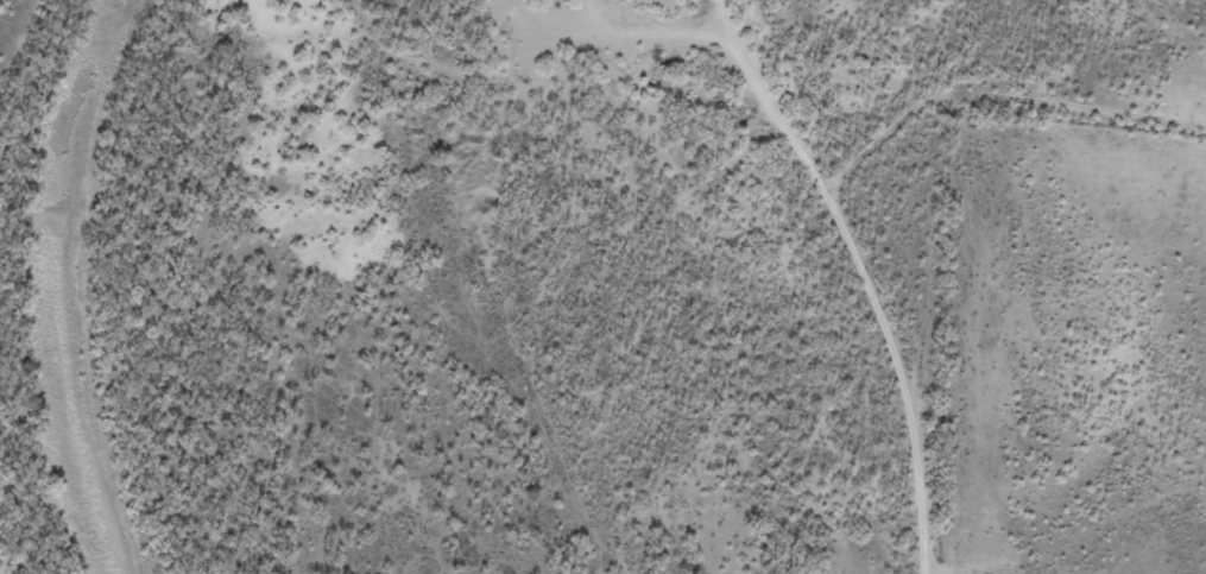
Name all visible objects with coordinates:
road: (977, 93)

